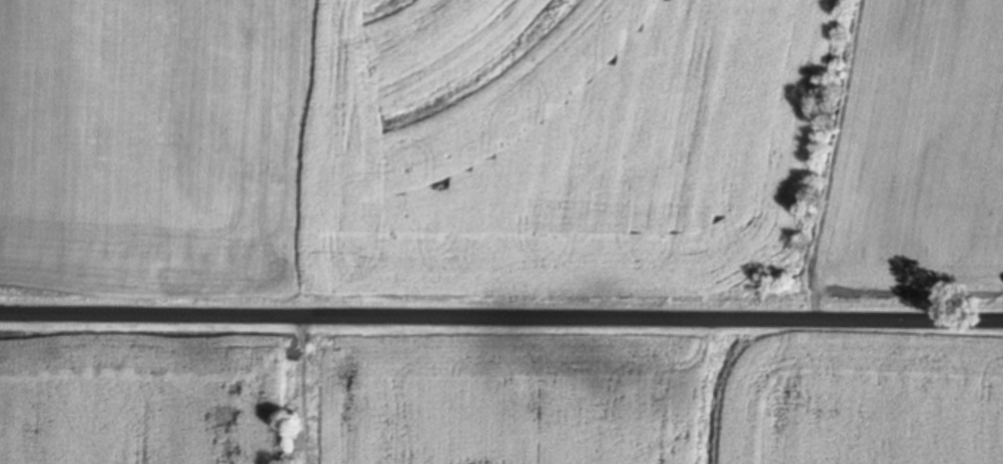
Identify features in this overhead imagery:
road: (501, 319)
road: (315, 390)

